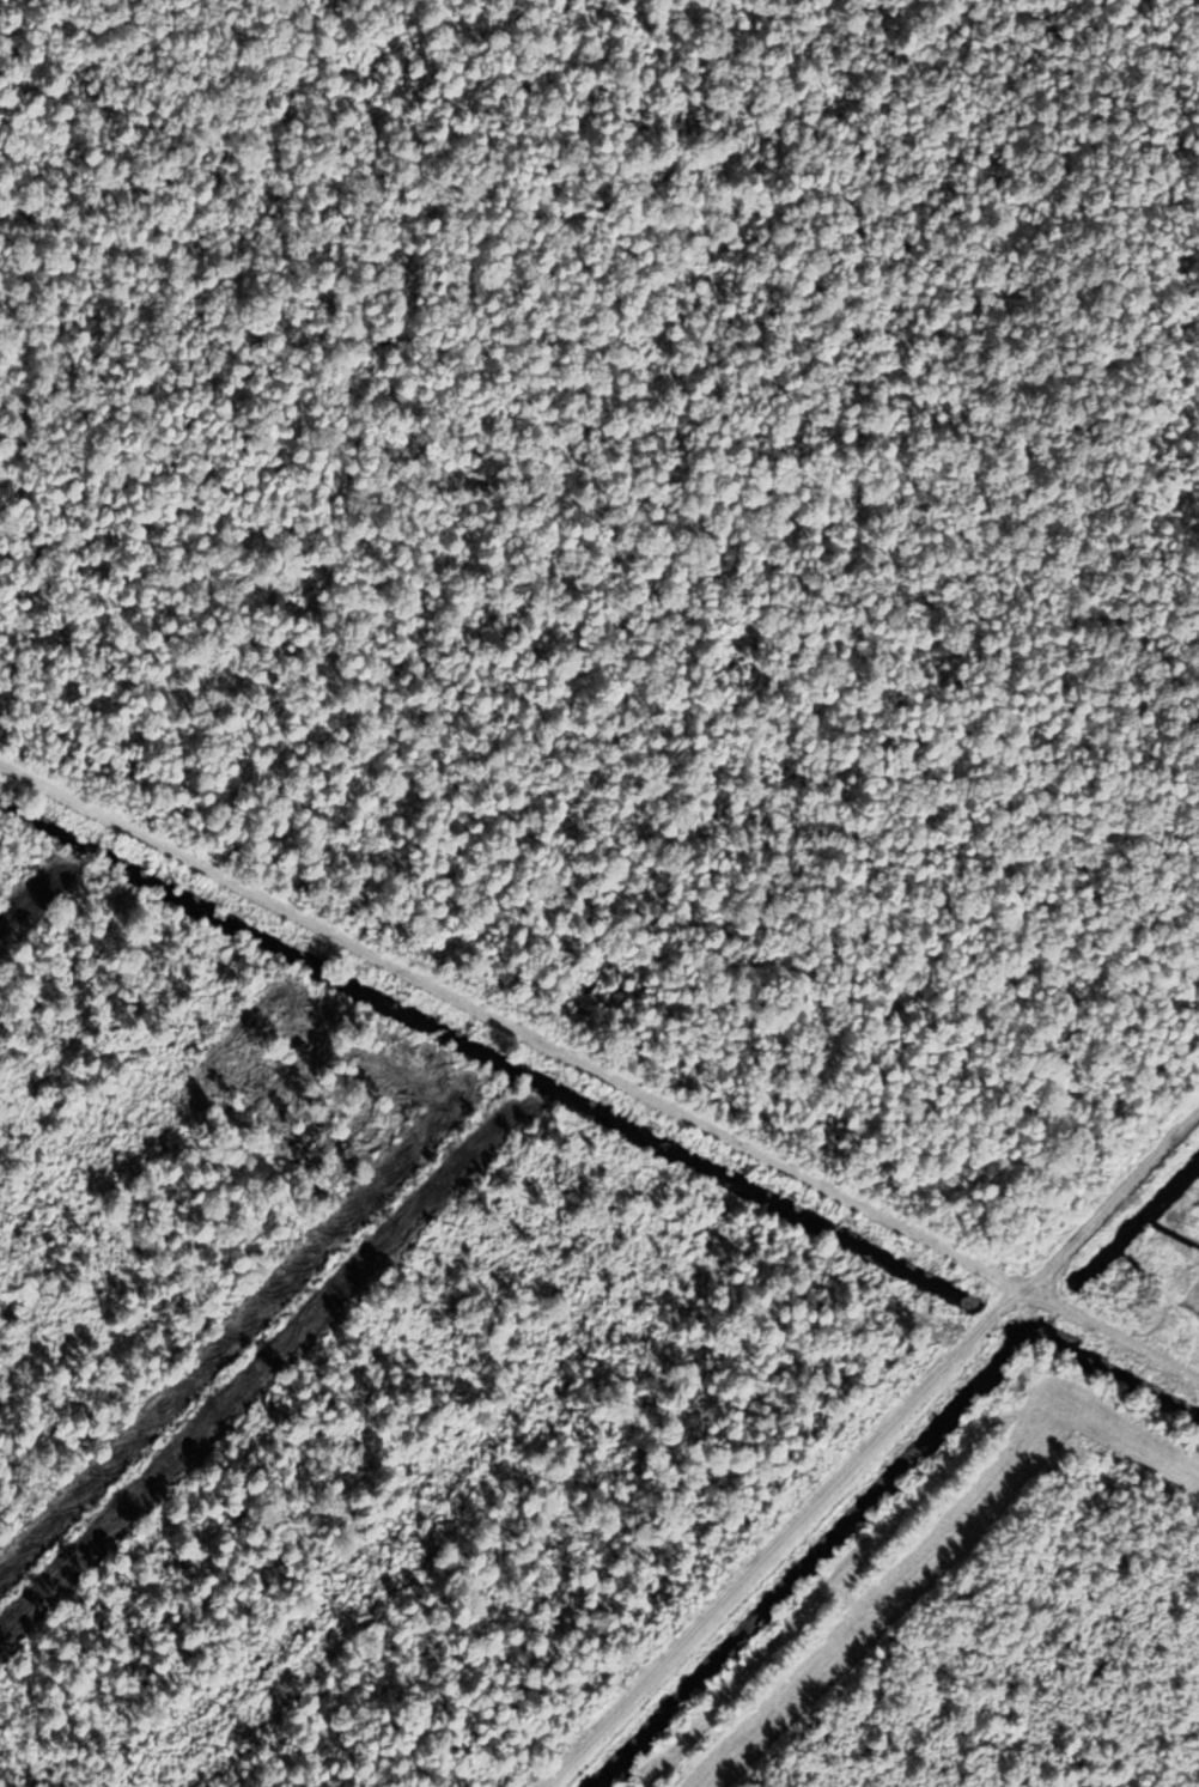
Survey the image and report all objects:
road: (599, 1077)
crop: (1174, 1250)
road: (868, 1445)

